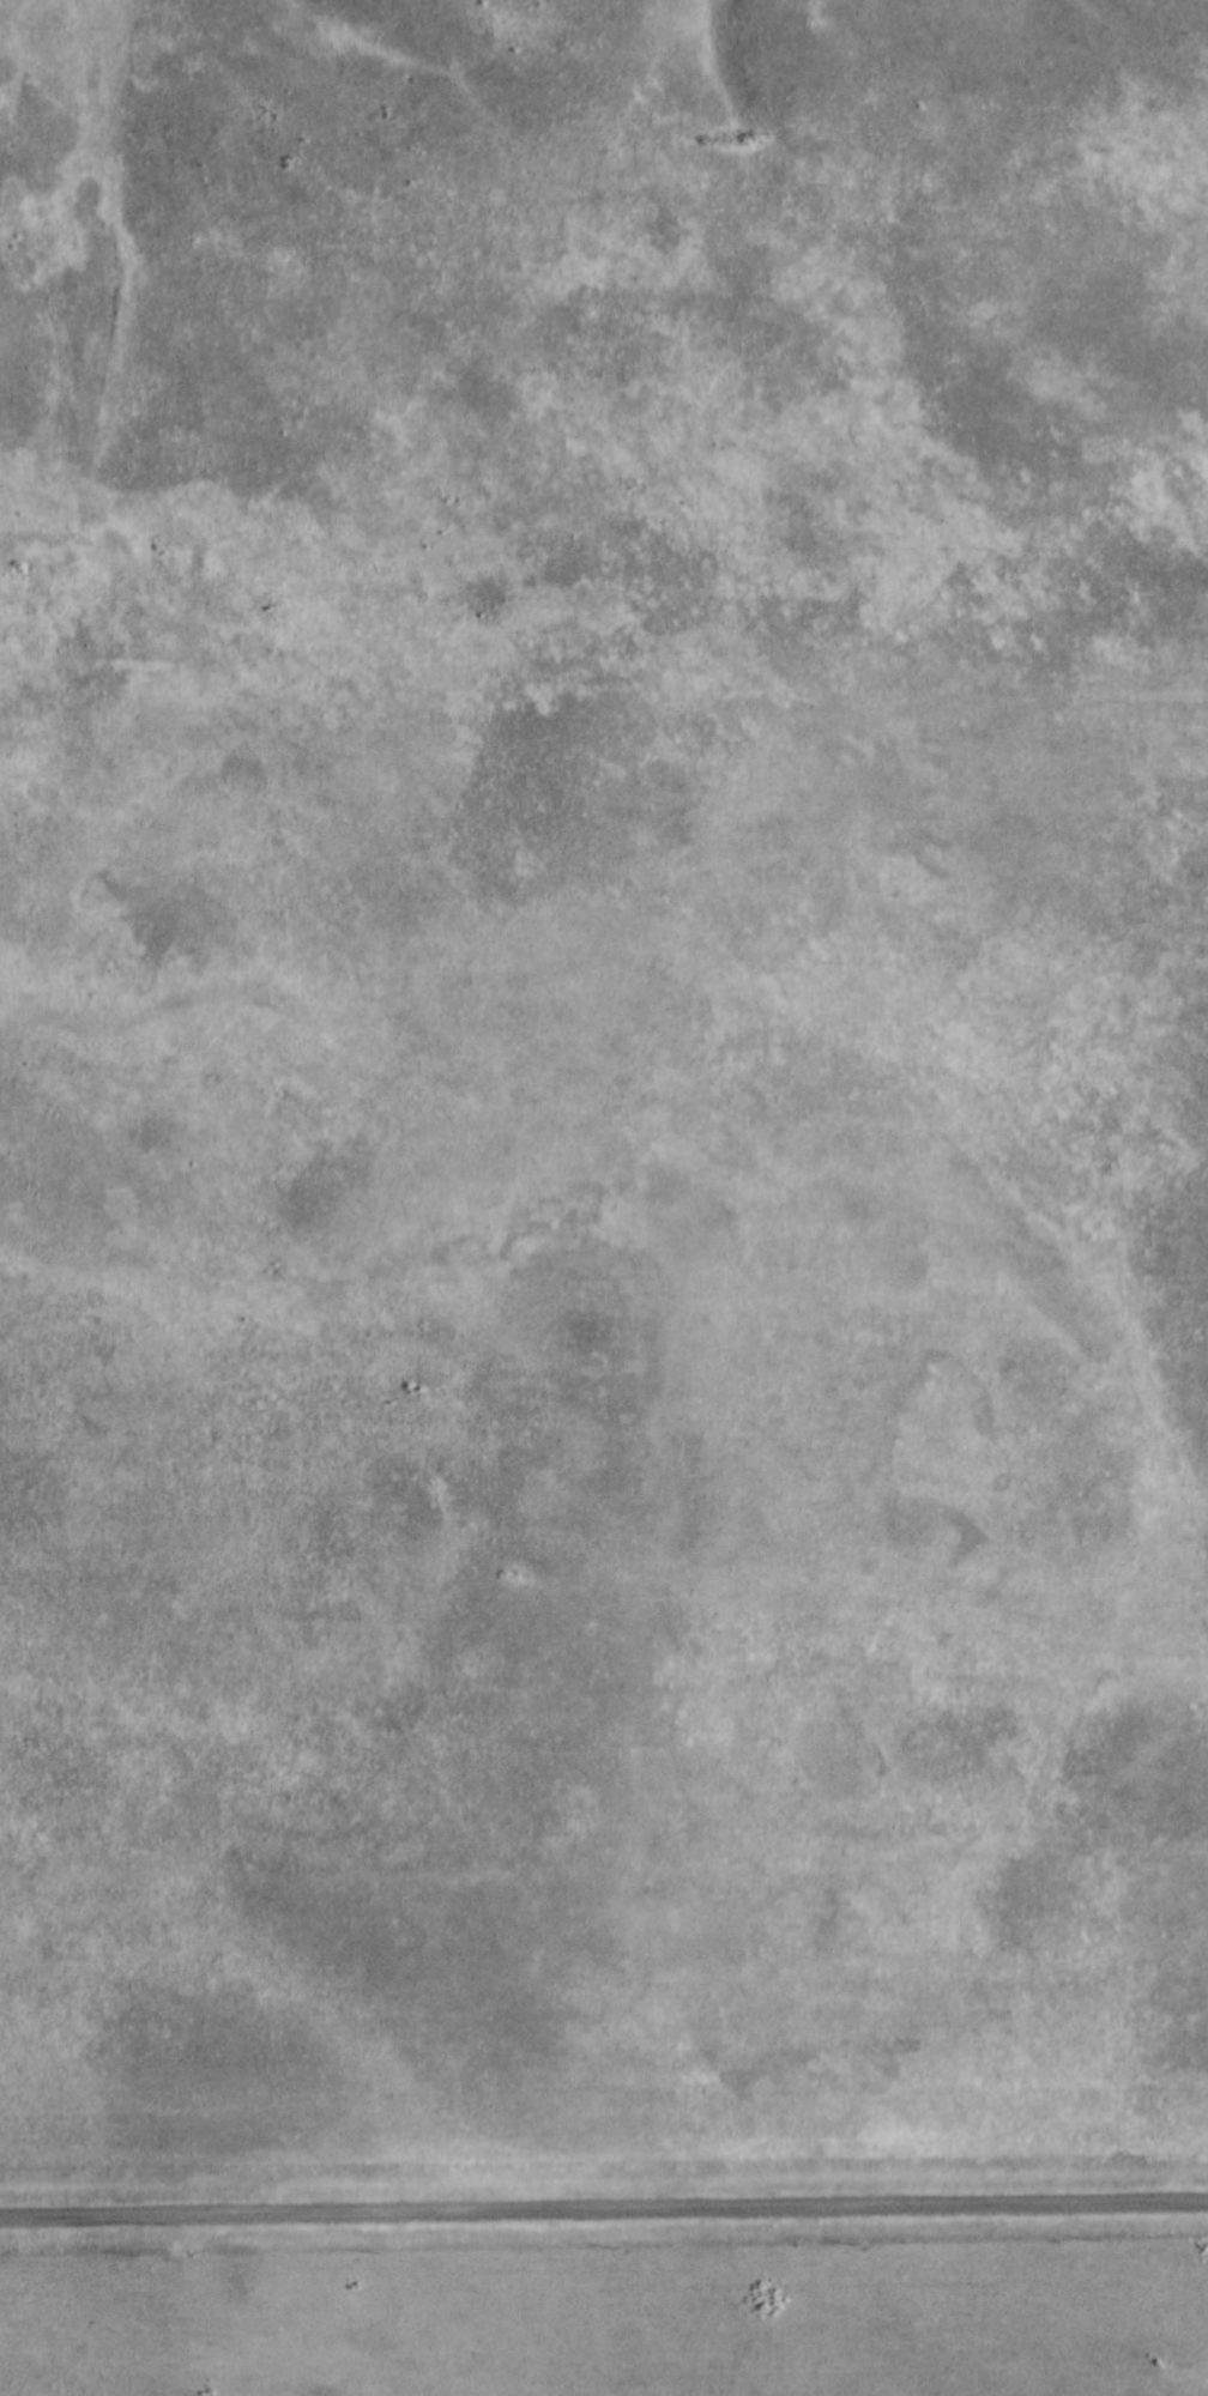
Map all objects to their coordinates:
road: (604, 2215)

